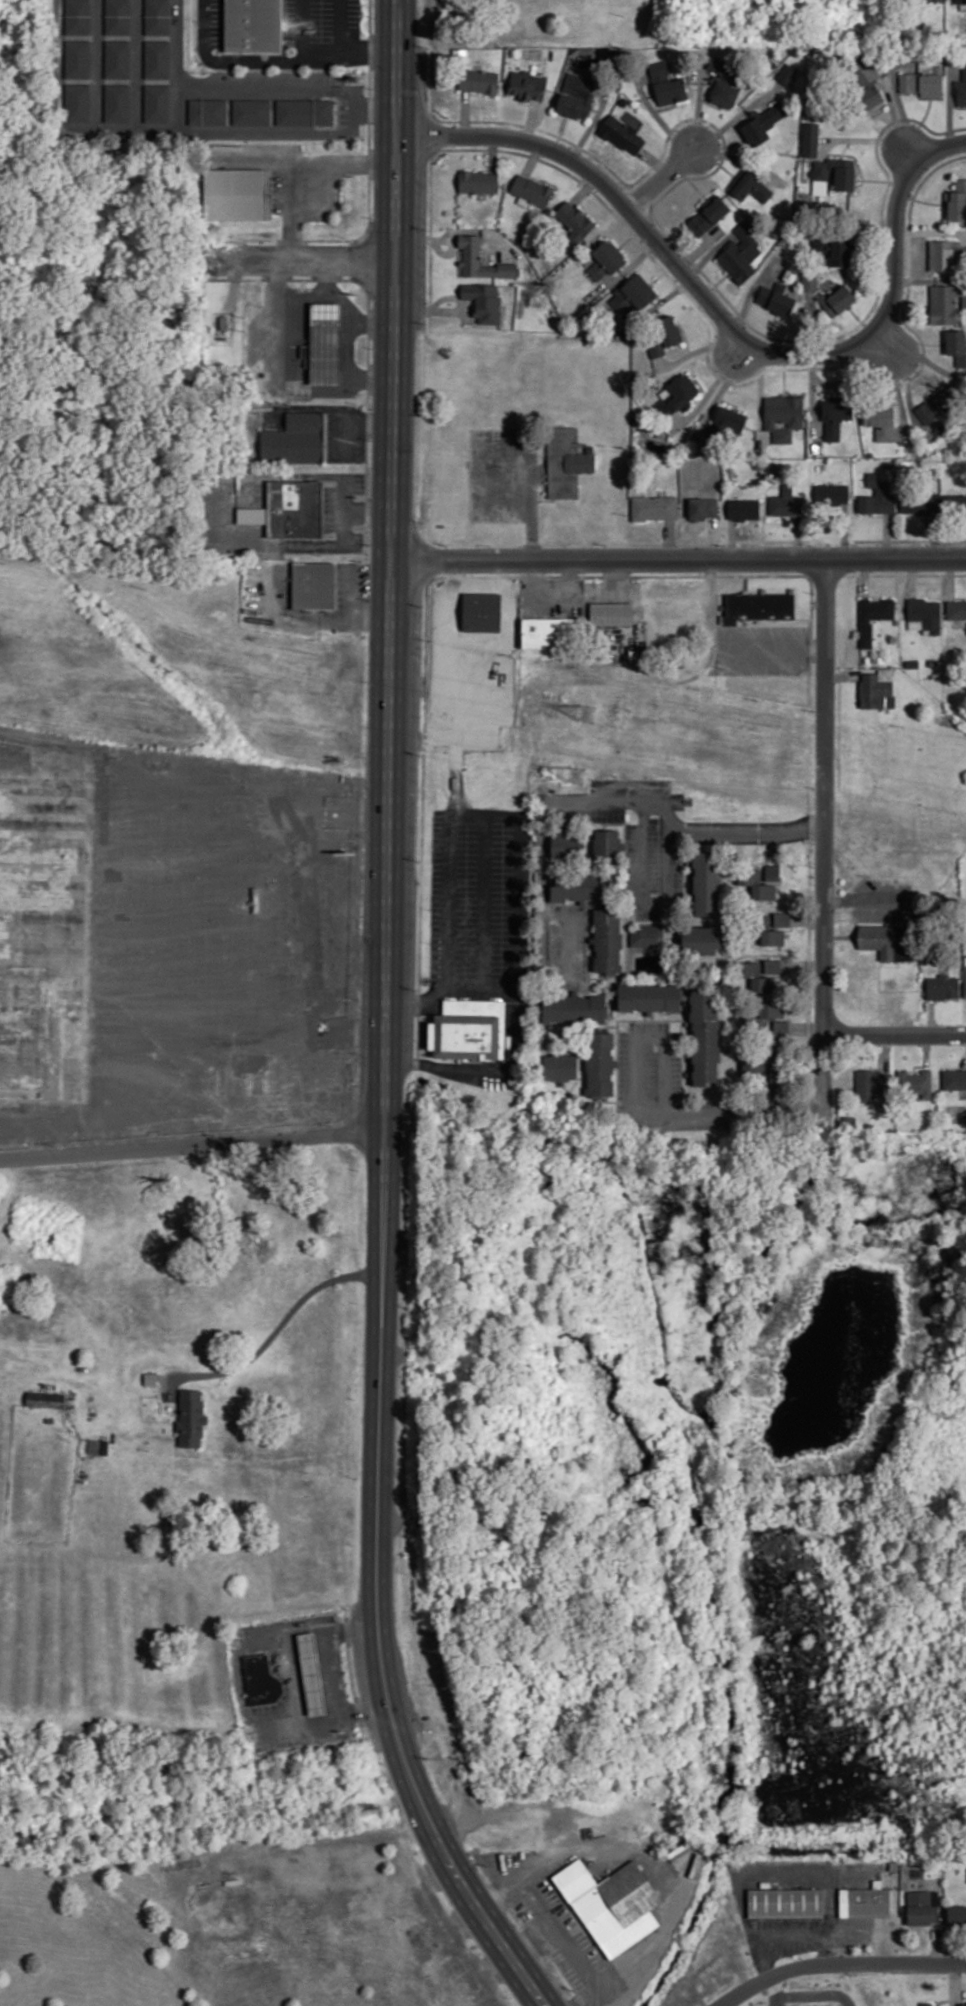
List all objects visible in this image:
building: (961, 1)
building: (78, 16)
building: (119, 17)
building: (159, 17)
road: (343, 25)
building: (261, 28)
road: (300, 32)
building: (78, 59)
building: (120, 60)
building: (158, 60)
road: (274, 65)
building: (788, 73)
building: (726, 80)
building: (924, 82)
building: (482, 84)
building: (668, 84)
building: (862, 86)
building: (961, 87)
building: (530, 90)
building: (579, 97)
building: (79, 103)
building: (119, 103)
building: (159, 105)
building: (210, 112)
building: (254, 113)
building: (307, 114)
road: (464, 115)
road: (531, 122)
building: (763, 123)
building: (622, 133)
building: (811, 138)
road: (493, 153)
road: (532, 159)
road: (300, 166)
building: (837, 171)
road: (662, 178)
building: (483, 183)
building: (751, 184)
building: (533, 190)
road: (584, 190)
building: (239, 196)
building: (957, 200)
building: (709, 213)
building: (576, 221)
building: (837, 245)
building: (742, 252)
building: (947, 254)
building: (472, 256)
road: (310, 257)
building: (607, 259)
road: (394, 280)
building: (811, 281)
road: (296, 290)
building: (778, 298)
building: (838, 299)
road: (342, 300)
building: (638, 300)
building: (485, 301)
building: (947, 303)
road: (723, 316)
building: (666, 335)
building: (330, 345)
building: (958, 345)
road: (280, 375)
building: (679, 395)
building: (938, 402)
building: (837, 414)
building: (784, 415)
building: (881, 420)
building: (727, 422)
building: (299, 440)
building: (567, 461)
building: (832, 493)
building: (878, 495)
building: (921, 500)
building: (786, 502)
building: (957, 503)
building: (655, 506)
building: (704, 507)
building: (744, 508)
building: (289, 509)
road: (678, 560)
road: (759, 574)
road: (746, 581)
building: (314, 585)
building: (759, 606)
building: (956, 609)
building: (479, 612)
building: (612, 613)
building: (927, 613)
building: (874, 616)
building: (551, 632)
parking lot: (763, 649)
road: (773, 649)
building: (876, 691)
power tower: (587, 714)
power tower: (579, 780)
road: (674, 830)
road: (824, 834)
road: (452, 842)
building: (569, 842)
building: (609, 845)
road: (672, 867)
building: (774, 872)
building: (707, 883)
building: (757, 884)
road: (544, 886)
building: (583, 886)
building: (255, 898)
road: (483, 917)
building: (783, 919)
building: (768, 930)
building: (646, 935)
building: (609, 939)
building: (702, 939)
building: (889, 940)
building: (773, 965)
building: (756, 975)
road: (513, 976)
building: (965, 980)
building: (943, 986)
road: (465, 988)
building: (650, 996)
building: (574, 1007)
building: (768, 1014)
building: (782, 1027)
building: (469, 1029)
road: (893, 1030)
building: (706, 1036)
building: (762, 1062)
building: (601, 1063)
building: (561, 1066)
building: (779, 1072)
building: (954, 1078)
building: (873, 1083)
building: (916, 1083)
road: (643, 1109)
road: (190, 1148)
road: (380, 1170)
building: (151, 1378)
building: (45, 1399)
building: (191, 1417)
building: (312, 1672)
road: (327, 1676)
road: (293, 1677)
road: (239, 1679)
building: (262, 1680)
road: (470, 1894)
building: (864, 1901)
building: (785, 1903)
building: (611, 1904)
building: (922, 1907)
building: (956, 1915)
road: (549, 1923)
road: (532, 1944)
road: (841, 1964)
road: (774, 1992)
road: (814, 1995)
building: (926, 2004)

